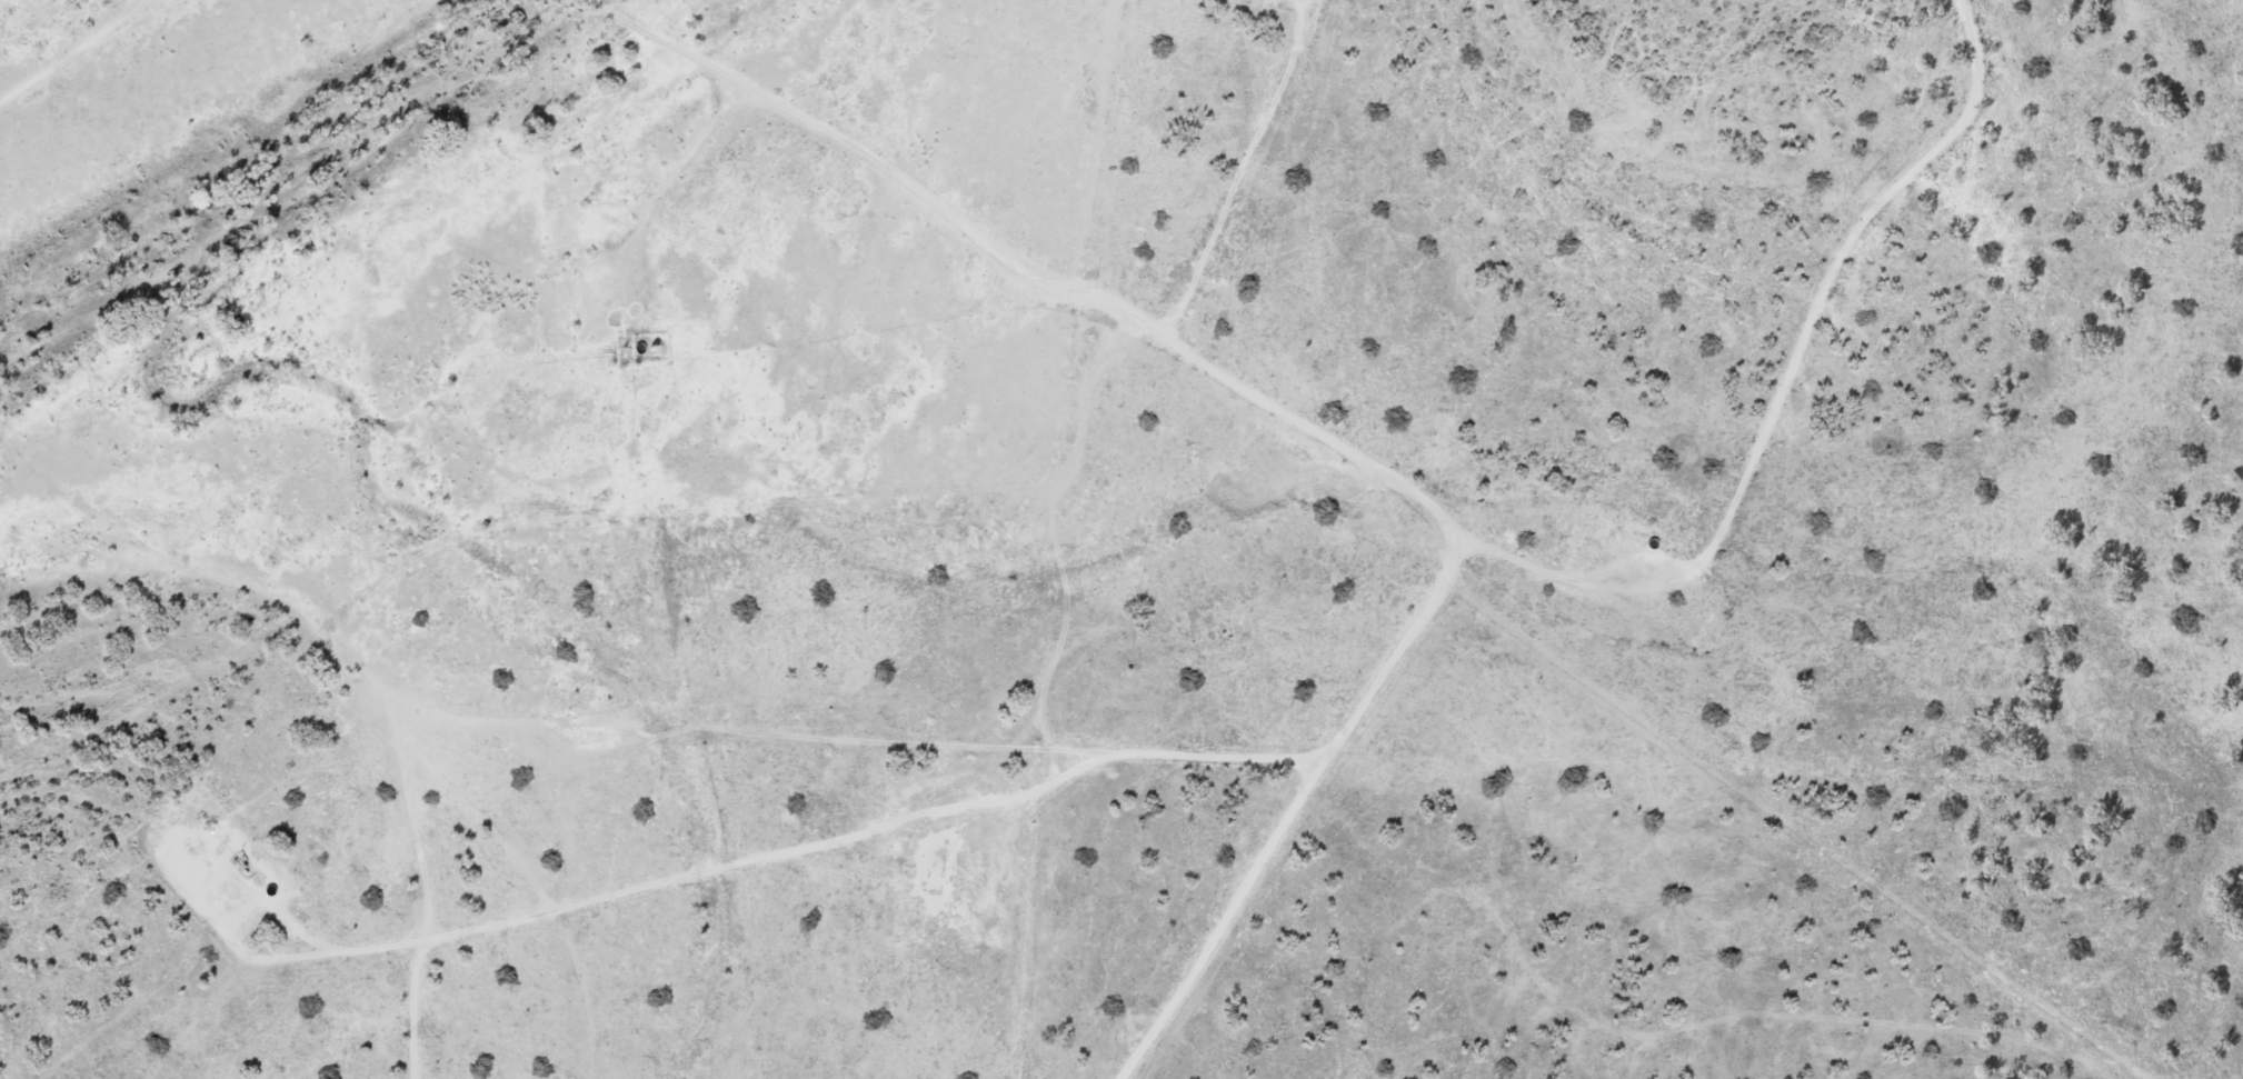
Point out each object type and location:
road: (58, 41)
river: (321, 202)
road: (1288, 429)

